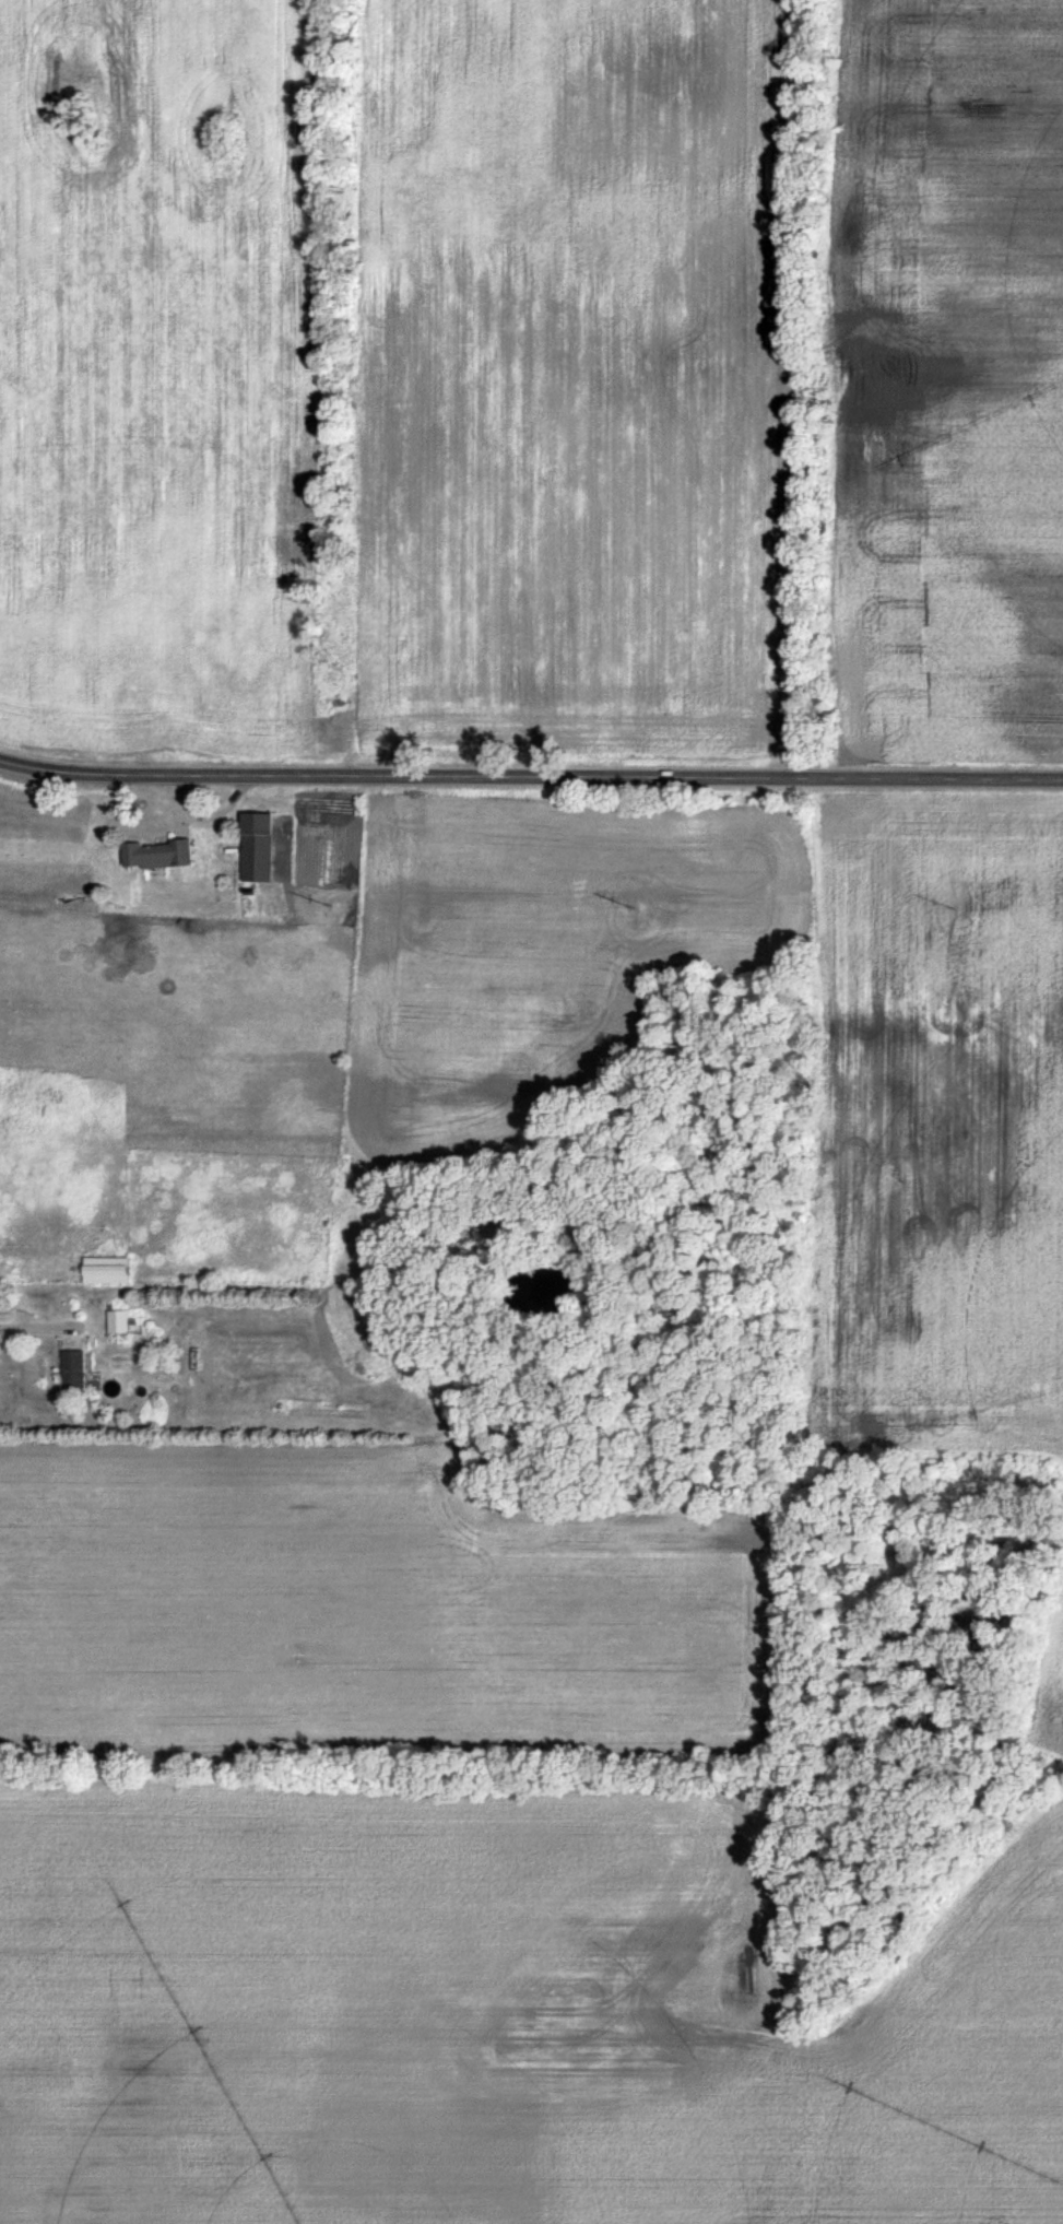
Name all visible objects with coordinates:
road: (60, 772)
road: (531, 780)
building: (261, 847)
building: (160, 854)
power tower: (323, 903)
power tower: (633, 905)
power tower: (953, 908)
building: (111, 1269)
building: (121, 1321)
building: (79, 1370)

